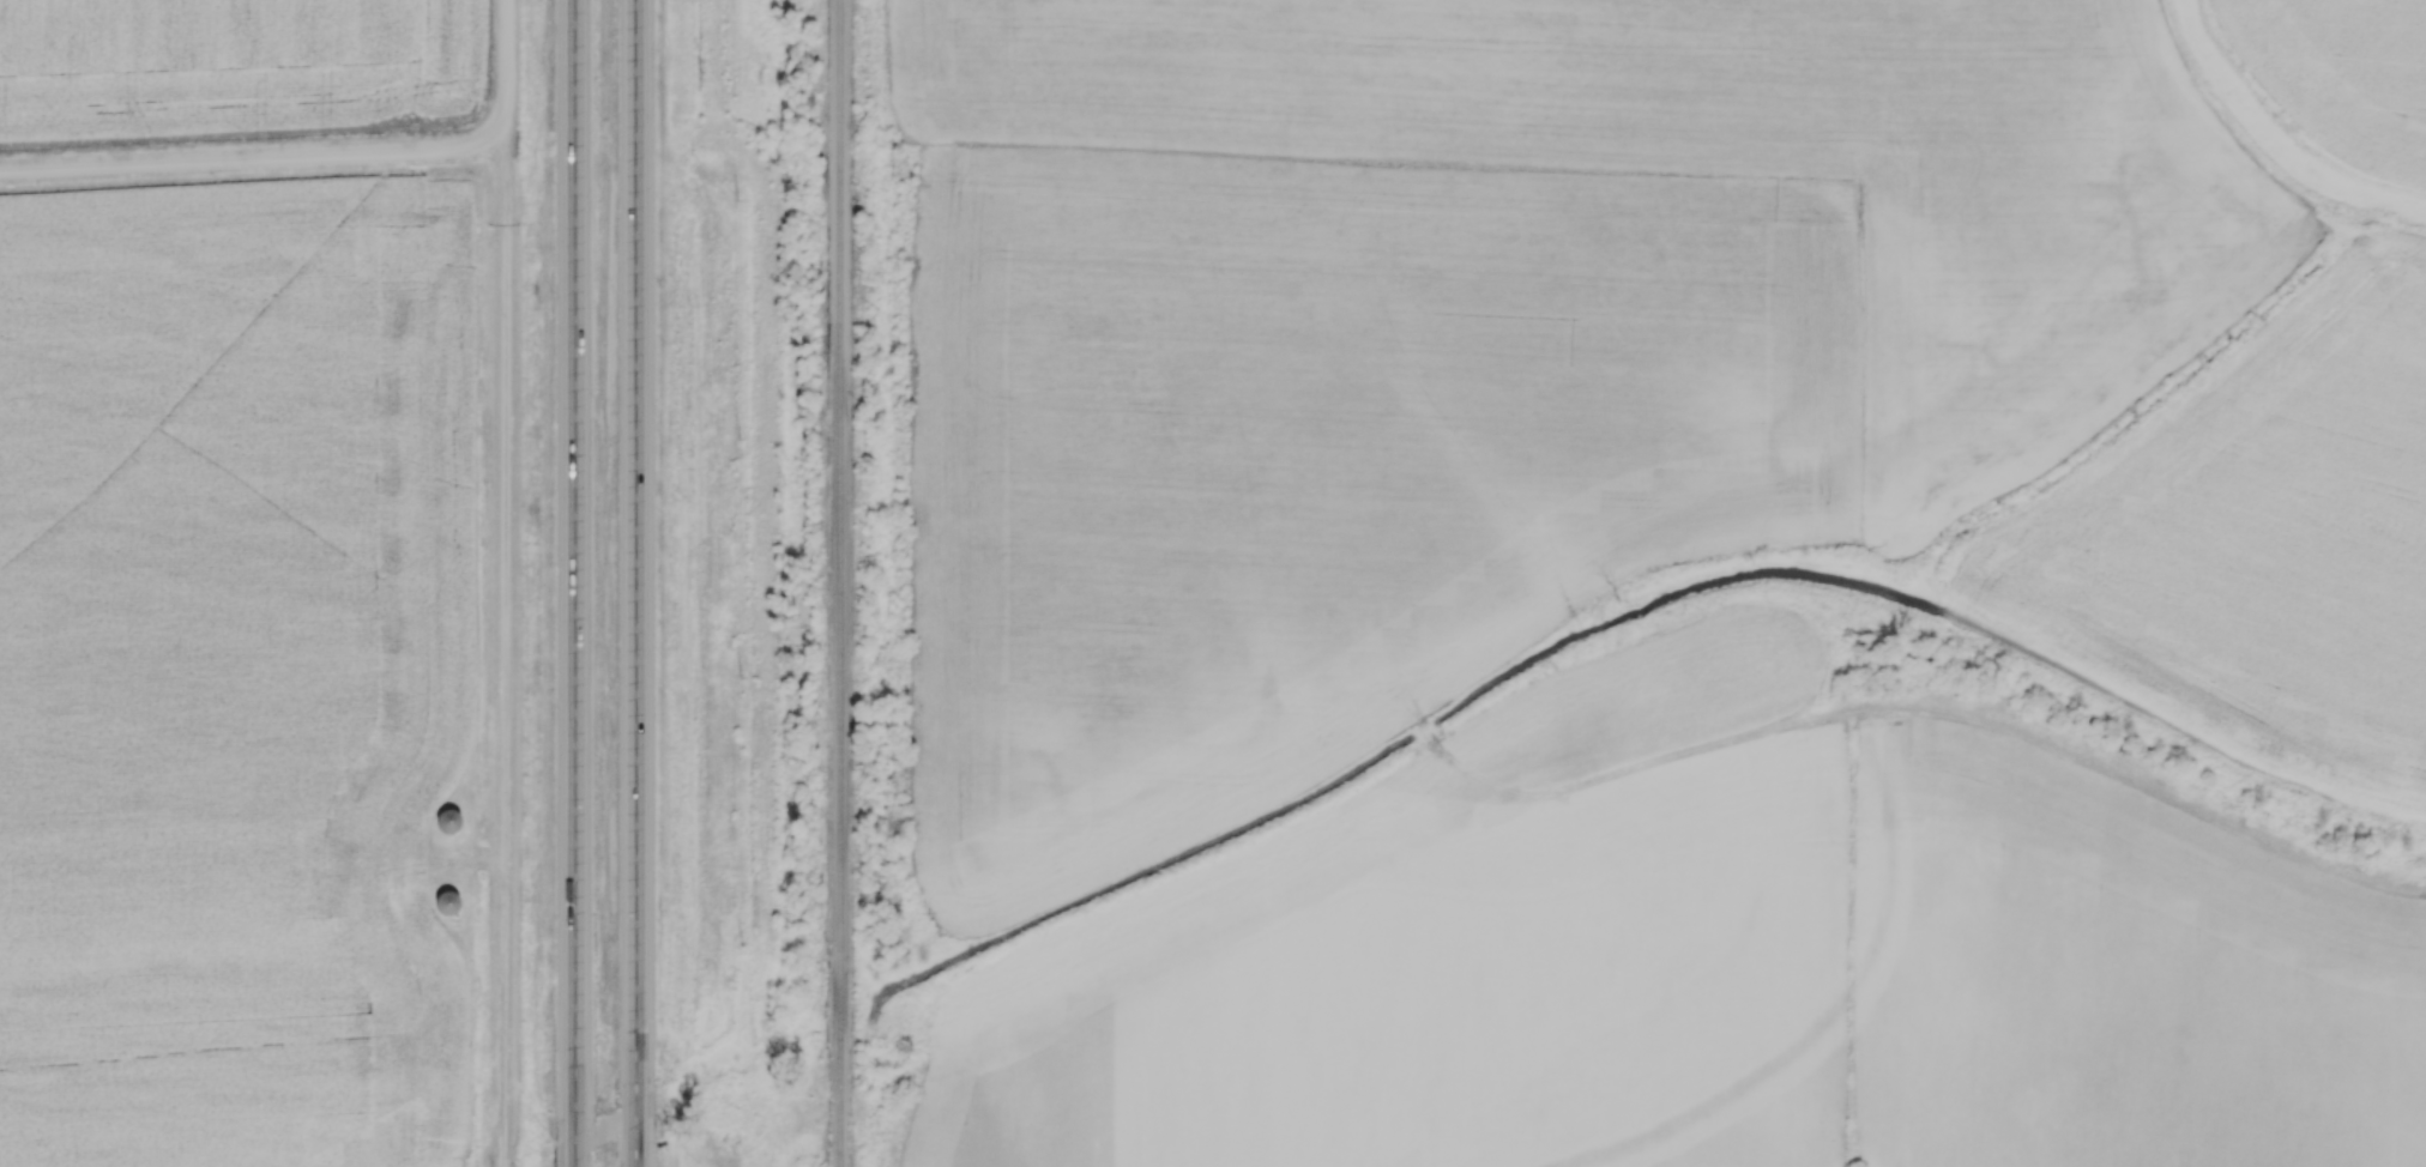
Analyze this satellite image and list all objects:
road: (502, 73)
road: (251, 158)
railway: (839, 582)
road: (574, 583)
road: (635, 583)
road: (501, 655)
road: (502, 1165)

